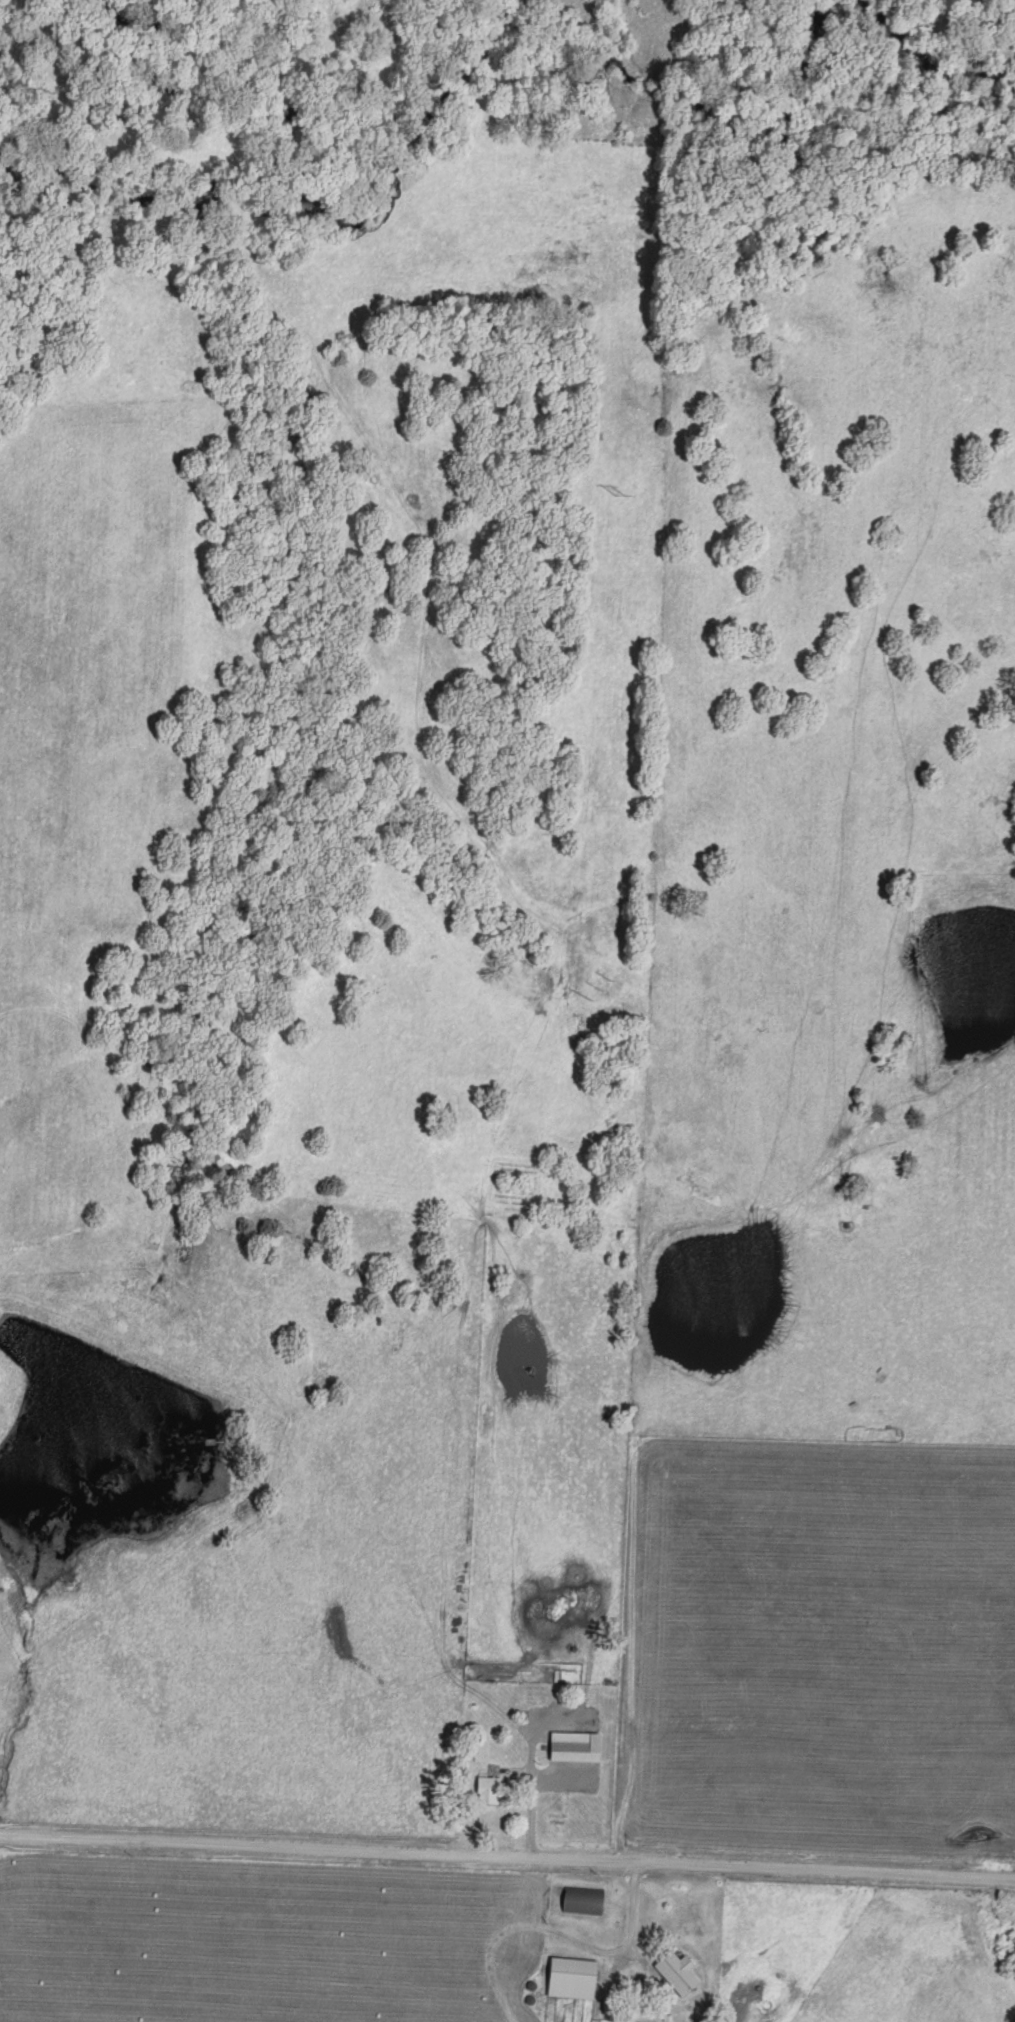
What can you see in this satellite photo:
power tower: (618, 491)
power tower: (602, 988)
road: (633, 1623)
building: (574, 1743)
building: (489, 1787)
road: (531, 1788)
road: (507, 1860)
building: (582, 1898)
road: (614, 1952)
building: (677, 1969)
building: (572, 1975)

